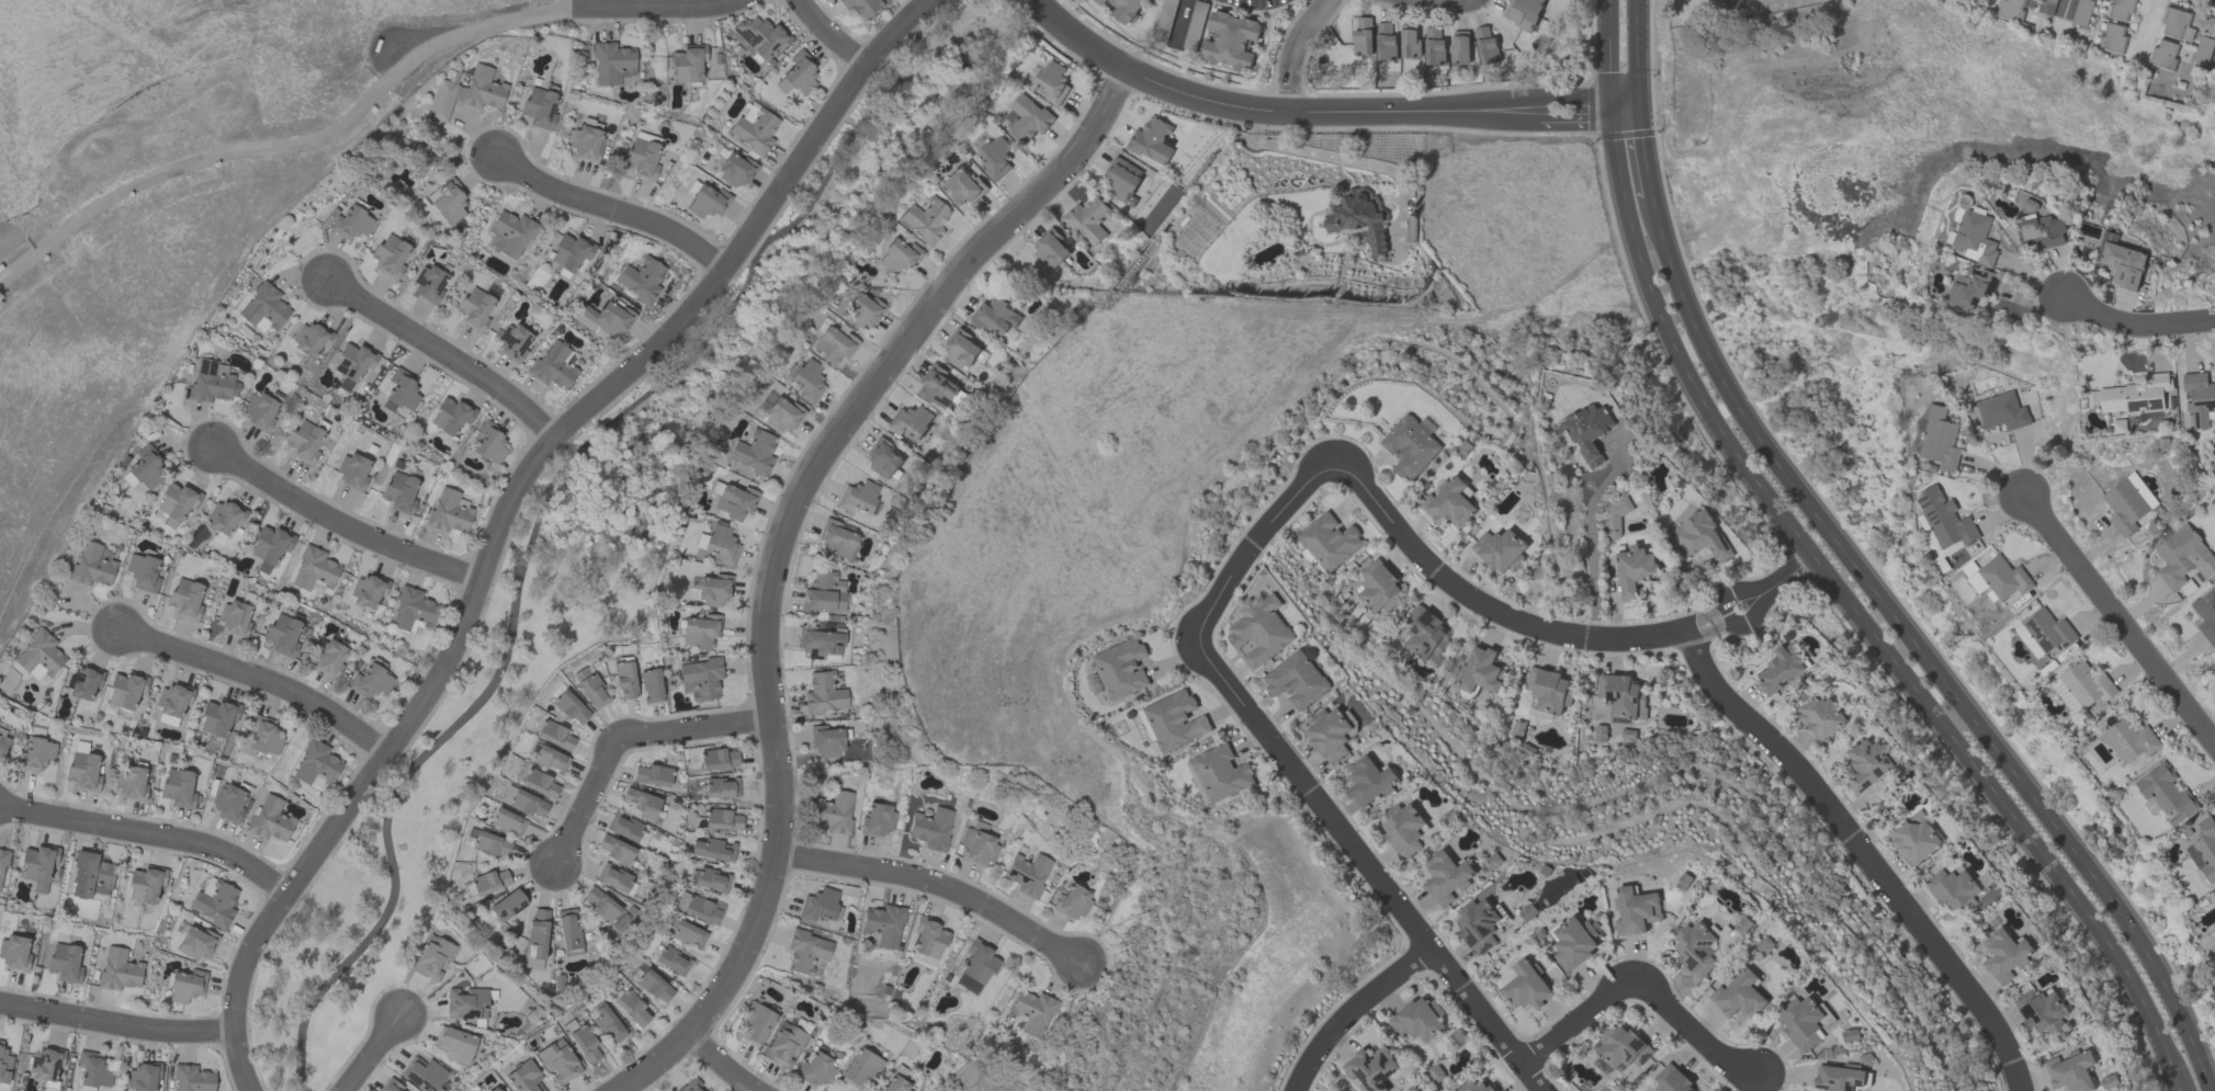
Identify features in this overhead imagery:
building: (1101, 1)
building: (861, 7)
building: (2045, 7)
road: (660, 8)
building: (2013, 8)
road: (2065, 8)
building: (1127, 9)
building: (2120, 10)
building: (1523, 12)
building: (2081, 12)
road: (1180, 20)
building: (2176, 23)
road: (830, 35)
building: (1361, 36)
building: (2112, 36)
building: (760, 37)
building: (1229, 39)
building: (1385, 41)
building: (1409, 41)
building: (1485, 45)
building: (1433, 46)
building: (1459, 46)
road: (1297, 49)
building: (2163, 53)
road: (1638, 56)
building: (612, 62)
building: (688, 64)
building: (800, 73)
building: (1052, 82)
building: (467, 93)
road: (1324, 107)
building: (539, 109)
traffic signals: (1640, 112)
traffic signals: (1612, 113)
building: (1026, 118)
building: (755, 128)
building: (587, 140)
building: (1151, 140)
road: (291, 146)
road: (1645, 155)
building: (995, 158)
building: (642, 159)
building: (734, 171)
building: (1121, 179)
building: (962, 186)
building: (449, 202)
building: (708, 202)
road: (619, 213)
building: (1358, 218)
building: (1087, 219)
building: (925, 220)
building: (350, 224)
building: (2042, 231)
building: (510, 235)
building: (1975, 237)
building: (1051, 249)
building: (570, 253)
building: (389, 255)
building: (899, 255)
building: (2123, 261)
building: (641, 280)
building: (429, 284)
building: (1971, 288)
road: (731, 305)
building: (264, 308)
building: (475, 309)
building: (862, 310)
building: (995, 316)
building: (613, 319)
road: (2138, 326)
building: (309, 340)
building: (512, 343)
building: (834, 345)
building: (961, 349)
road: (449, 355)
building: (353, 362)
building: (553, 366)
building: (212, 382)
building: (807, 382)
building: (937, 386)
building: (400, 393)
building: (2200, 398)
building: (2133, 399)
building: (259, 411)
building: (2001, 411)
building: (451, 416)
building: (783, 416)
building: (909, 421)
building: (1589, 431)
building: (1939, 439)
building: (304, 442)
building: (489, 443)
building: (1410, 446)
building: (754, 453)
building: (882, 459)
building: (144, 470)
building: (352, 471)
road: (1348, 475)
building: (399, 492)
building: (858, 497)
building: (177, 501)
building: (735, 502)
building: (1449, 502)
road: (515, 504)
building: (2124, 505)
building: (449, 512)
building: (1613, 516)
building: (223, 518)
building: (1944, 519)
building: (163, 520)
road: (344, 526)
building: (1699, 536)
building: (837, 541)
building: (1329, 541)
road: (1592, 544)
park: (603, 546)
building: (270, 547)
building: (1499, 548)
road: (787, 550)
building: (2183, 556)
building: (93, 565)
building: (315, 570)
building: (1634, 570)
building: (143, 572)
road: (1823, 572)
building: (2003, 577)
building: (1976, 582)
building: (1377, 586)
road: (1762, 588)
building: (2214, 589)
building: (713, 590)
building: (368, 592)
building: (824, 593)
building: (185, 599)
building: (413, 611)
building: (2206, 614)
building: (235, 618)
road: (2116, 628)
building: (2048, 629)
building: (1261, 630)
building: (700, 632)
building: (1424, 633)
building: (283, 635)
building: (2027, 640)
road: (1917, 649)
building: (39, 657)
building: (328, 658)
building: (1121, 668)
building: (1782, 668)
building: (1480, 670)
building: (700, 679)
building: (1296, 679)
building: (624, 680)
building: (83, 682)
building: (370, 682)
road: (262, 683)
building: (2086, 684)
building: (651, 685)
building: (590, 687)
building: (126, 690)
building: (2059, 690)
building: (824, 693)
building: (1621, 695)
building: (172, 704)
building: (570, 708)
building: (1820, 716)
building: (217, 717)
building: (1174, 720)
building: (1329, 732)
building: (554, 736)
building: (260, 738)
building: (2128, 740)
building: (826, 741)
building: (3, 743)
road: (635, 743)
building: (35, 754)
building: (549, 759)
building: (717, 759)
building: (1871, 762)
building: (316, 766)
building: (83, 772)
building: (1220, 772)
building: (652, 775)
building: (1368, 781)
building: (129, 783)
building: (539, 783)
building: (178, 788)
building: (721, 788)
building: (2166, 793)
building: (507, 795)
building: (228, 803)
building: (640, 803)
building: (528, 805)
road: (387, 806)
building: (833, 812)
building: (270, 819)
building: (723, 820)
building: (878, 820)
building: (507, 822)
building: (624, 828)
building: (931, 829)
building: (1402, 829)
building: (1914, 838)
road: (151, 839)
building: (490, 844)
building: (976, 848)
building: (614, 849)
building: (713, 850)
road: (1862, 854)
building: (2, 866)
building: (38, 866)
building: (1028, 874)
building: (90, 876)
building: (1445, 876)
building: (613, 878)
building: (708, 879)
building: (489, 883)
building: (146, 885)
road: (942, 886)
building: (1954, 889)
building: (214, 902)
building: (1072, 902)
building: (508, 906)
building: (601, 906)
building: (818, 906)
building: (698, 909)
building: (1635, 910)
building: (1478, 924)
building: (1741, 924)
building: (883, 925)
building: (568, 931)
building: (687, 933)
building: (536, 941)
building: (1573, 942)
building: (196, 943)
building: (927, 943)
road: (1422, 944)
building: (1695, 947)
building: (806, 952)
building: (14, 953)
building: (2004, 955)
building: (433, 958)
building: (671, 961)
building: (65, 963)
building: (976, 967)
building: (118, 970)
building: (187, 986)
building: (1526, 986)
building: (654, 987)
building: (1739, 995)
building: (466, 1004)
building: (632, 1009)
road: (1349, 1010)
building: (2041, 1010)
building: (1032, 1012)
building: (1419, 1019)
road: (1575, 1021)
building: (1801, 1022)
building: (608, 1025)
building: (755, 1025)
road: (116, 1027)
road: (1696, 1031)
building: (585, 1044)
building: (455, 1045)
building: (784, 1046)
building: (1623, 1047)
road: (377, 1055)
building: (557, 1062)
building: (4, 1064)
building: (46, 1064)
road: (725, 1065)
building: (861, 1068)
building: (1370, 1068)
building: (815, 1069)
building: (94, 1070)
building: (2070, 1071)
building: (425, 1075)
building: (143, 1078)
building: (524, 1078)
building: (193, 1079)
building: (1672, 1079)
building: (391, 1086)
building: (692, 1086)
building: (894, 1086)
building: (1476, 1086)
building: (495, 1090)

